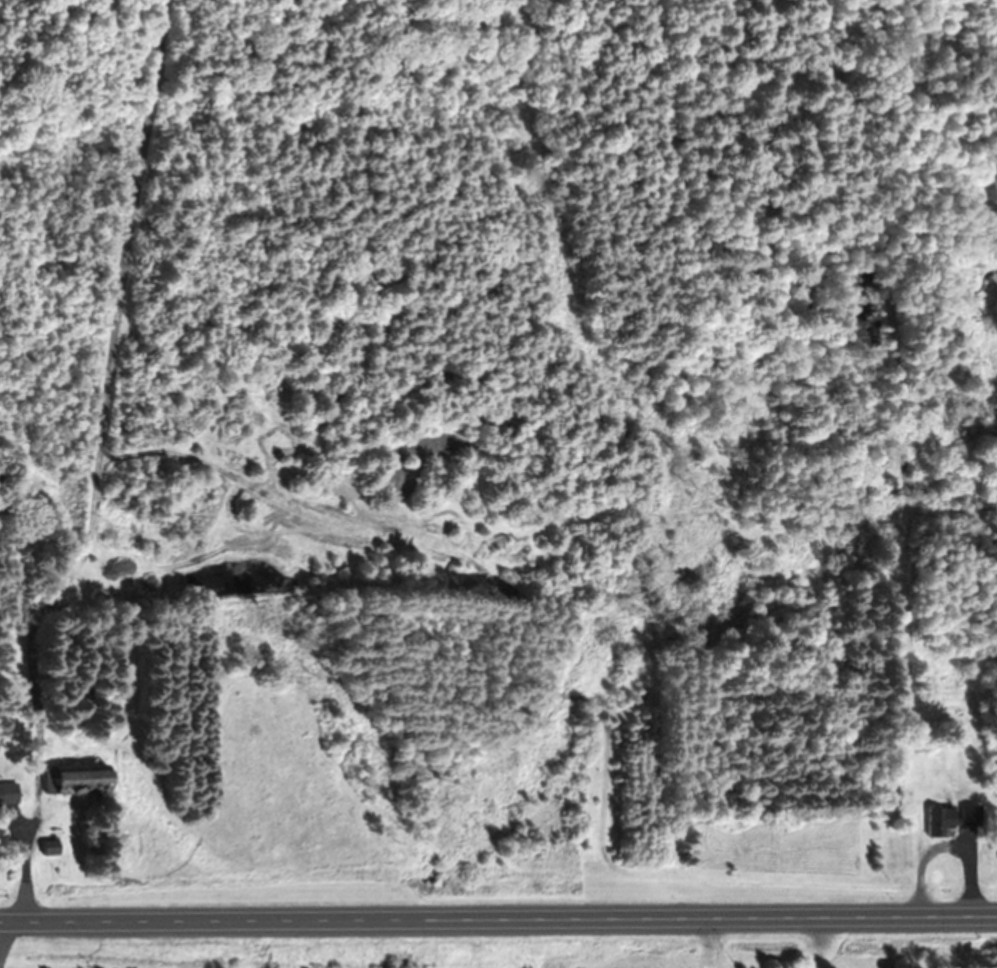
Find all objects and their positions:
building: (71, 780)
building: (890, 793)
building: (6, 796)
building: (949, 820)
building: (43, 848)
road: (498, 919)

